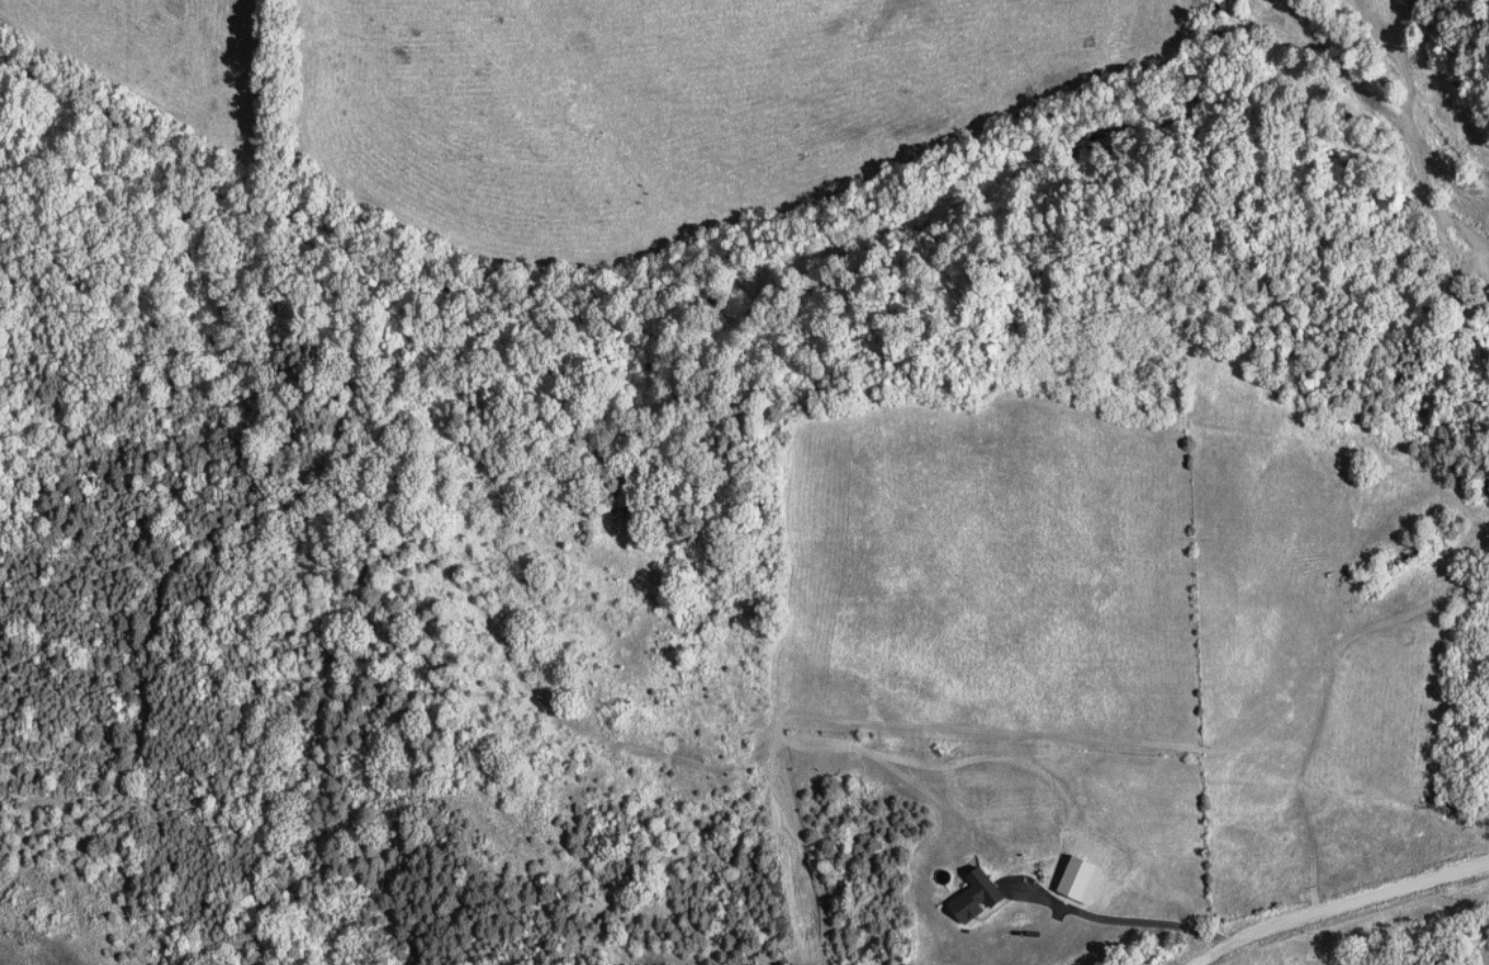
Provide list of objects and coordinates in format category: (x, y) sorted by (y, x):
road: (1434, 202)
road: (1467, 230)
road: (1330, 689)
building: (983, 897)
road: (1341, 908)
road: (1124, 925)

